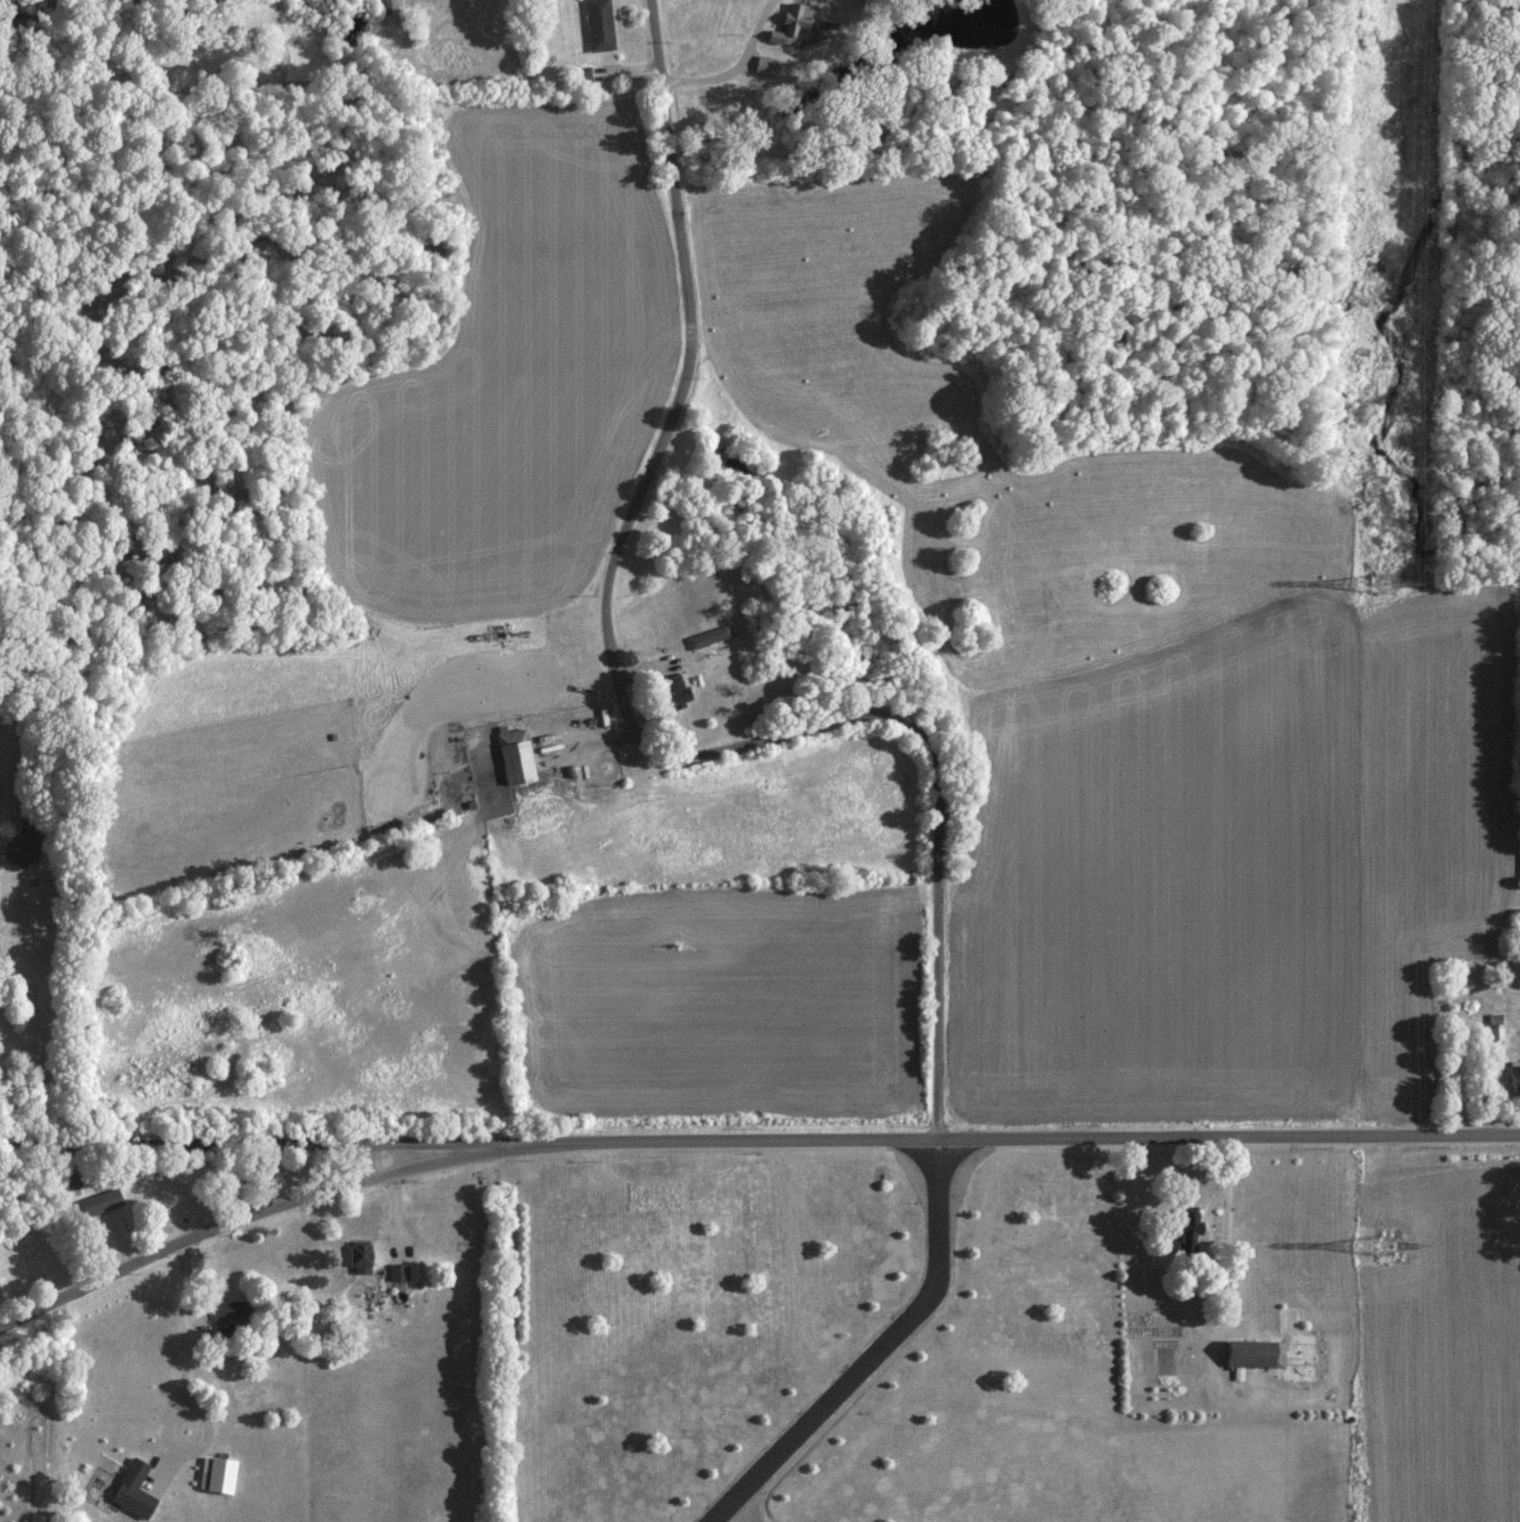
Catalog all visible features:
road: (741, 67)
power tower: (1388, 584)
road: (623, 714)
road: (744, 1140)
road: (256, 1144)
power tower: (1394, 1246)
road: (879, 1353)
road: (186, 1392)

